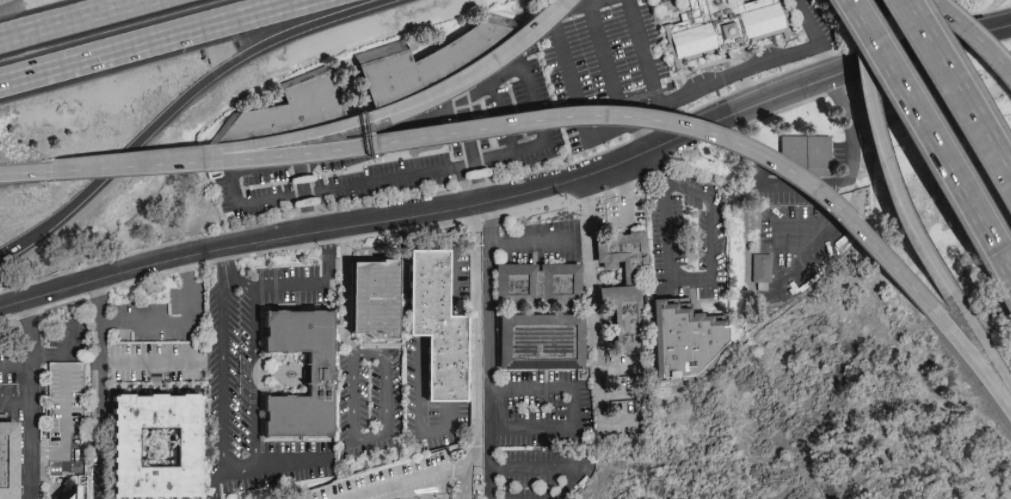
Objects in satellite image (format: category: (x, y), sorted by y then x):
road: (67, 18)
building: (723, 27)
road: (859, 30)
road: (508, 32)
road: (976, 35)
road: (155, 41)
building: (432, 62)
road: (750, 68)
road: (572, 78)
road: (959, 90)
road: (176, 103)
building: (294, 110)
road: (518, 119)
road: (294, 133)
road: (637, 135)
road: (930, 136)
road: (348, 138)
building: (804, 155)
road: (853, 168)
road: (78, 169)
road: (25, 172)
road: (891, 179)
road: (622, 189)
road: (513, 193)
road: (664, 206)
road: (826, 220)
road: (711, 239)
road: (534, 244)
building: (759, 271)
road: (228, 273)
road: (317, 283)
building: (542, 285)
building: (629, 294)
building: (381, 296)
road: (344, 306)
road: (593, 322)
building: (443, 324)
road: (176, 325)
road: (454, 332)
road: (952, 332)
road: (980, 338)
building: (691, 341)
building: (546, 342)
road: (489, 348)
road: (65, 355)
road: (13, 363)
road: (622, 370)
road: (223, 371)
road: (253, 380)
building: (326, 381)
road: (476, 383)
road: (418, 388)
road: (102, 389)
road: (639, 394)
road: (26, 400)
road: (577, 424)
road: (67, 433)
road: (365, 440)
building: (161, 447)
building: (10, 461)
road: (554, 467)
road: (277, 468)
road: (214, 482)
road: (462, 483)
building: (69, 491)

